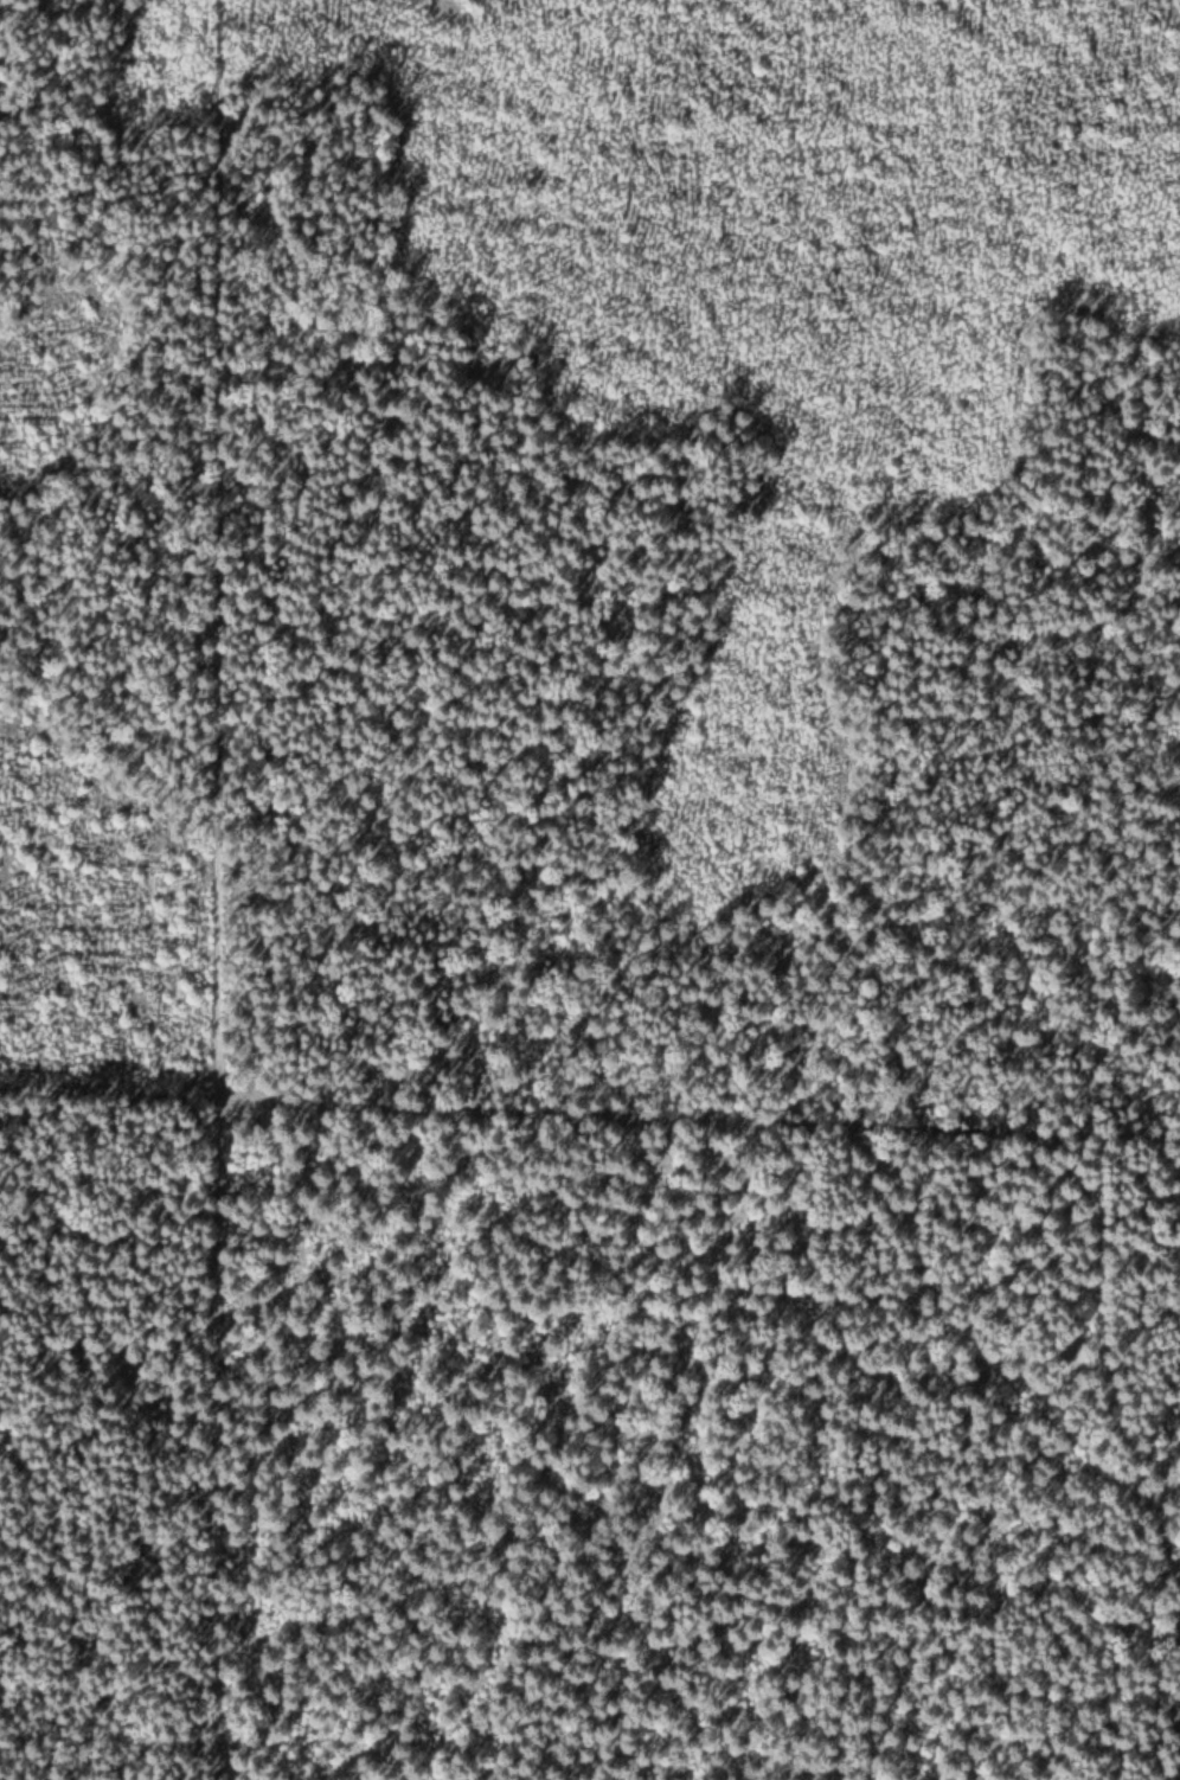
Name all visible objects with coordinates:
road: (223, 890)
road: (590, 1088)

